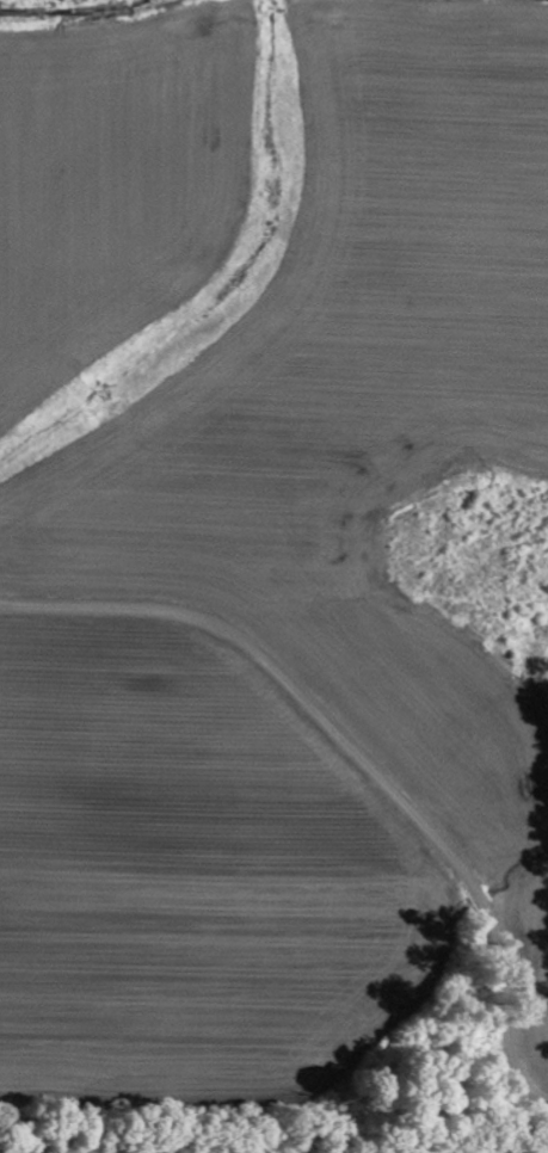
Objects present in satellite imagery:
road: (357, 758)

